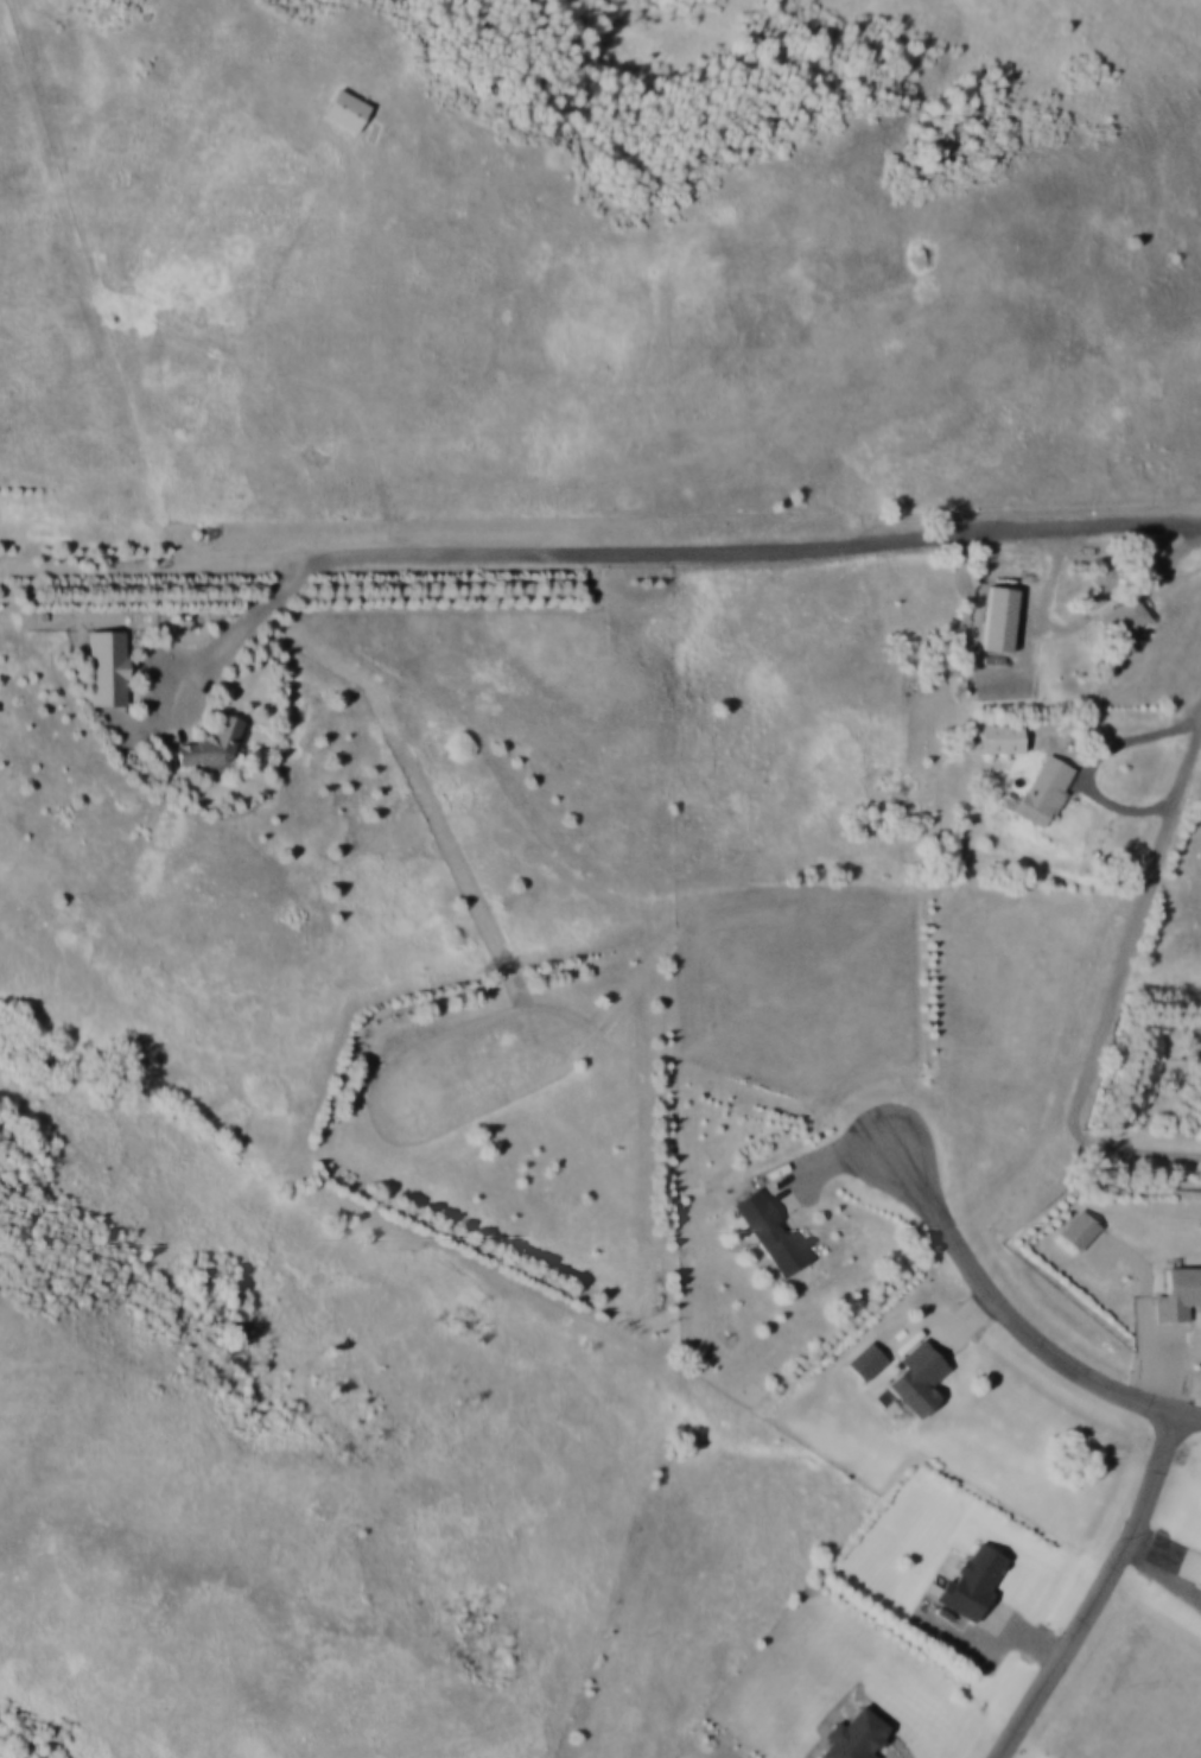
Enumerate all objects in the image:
building: (345, 108)
road: (597, 552)
building: (1102, 575)
building: (1123, 616)
road: (228, 635)
building: (106, 666)
building: (1003, 736)
building: (215, 741)
road: (1097, 763)
building: (1047, 788)
road: (1137, 925)
road: (1135, 1153)
building: (1079, 1229)
building: (769, 1230)
building: (1178, 1294)
road: (1010, 1319)
building: (917, 1377)
building: (973, 1579)
building: (1199, 1580)
road: (1098, 1592)
building: (854, 1735)

